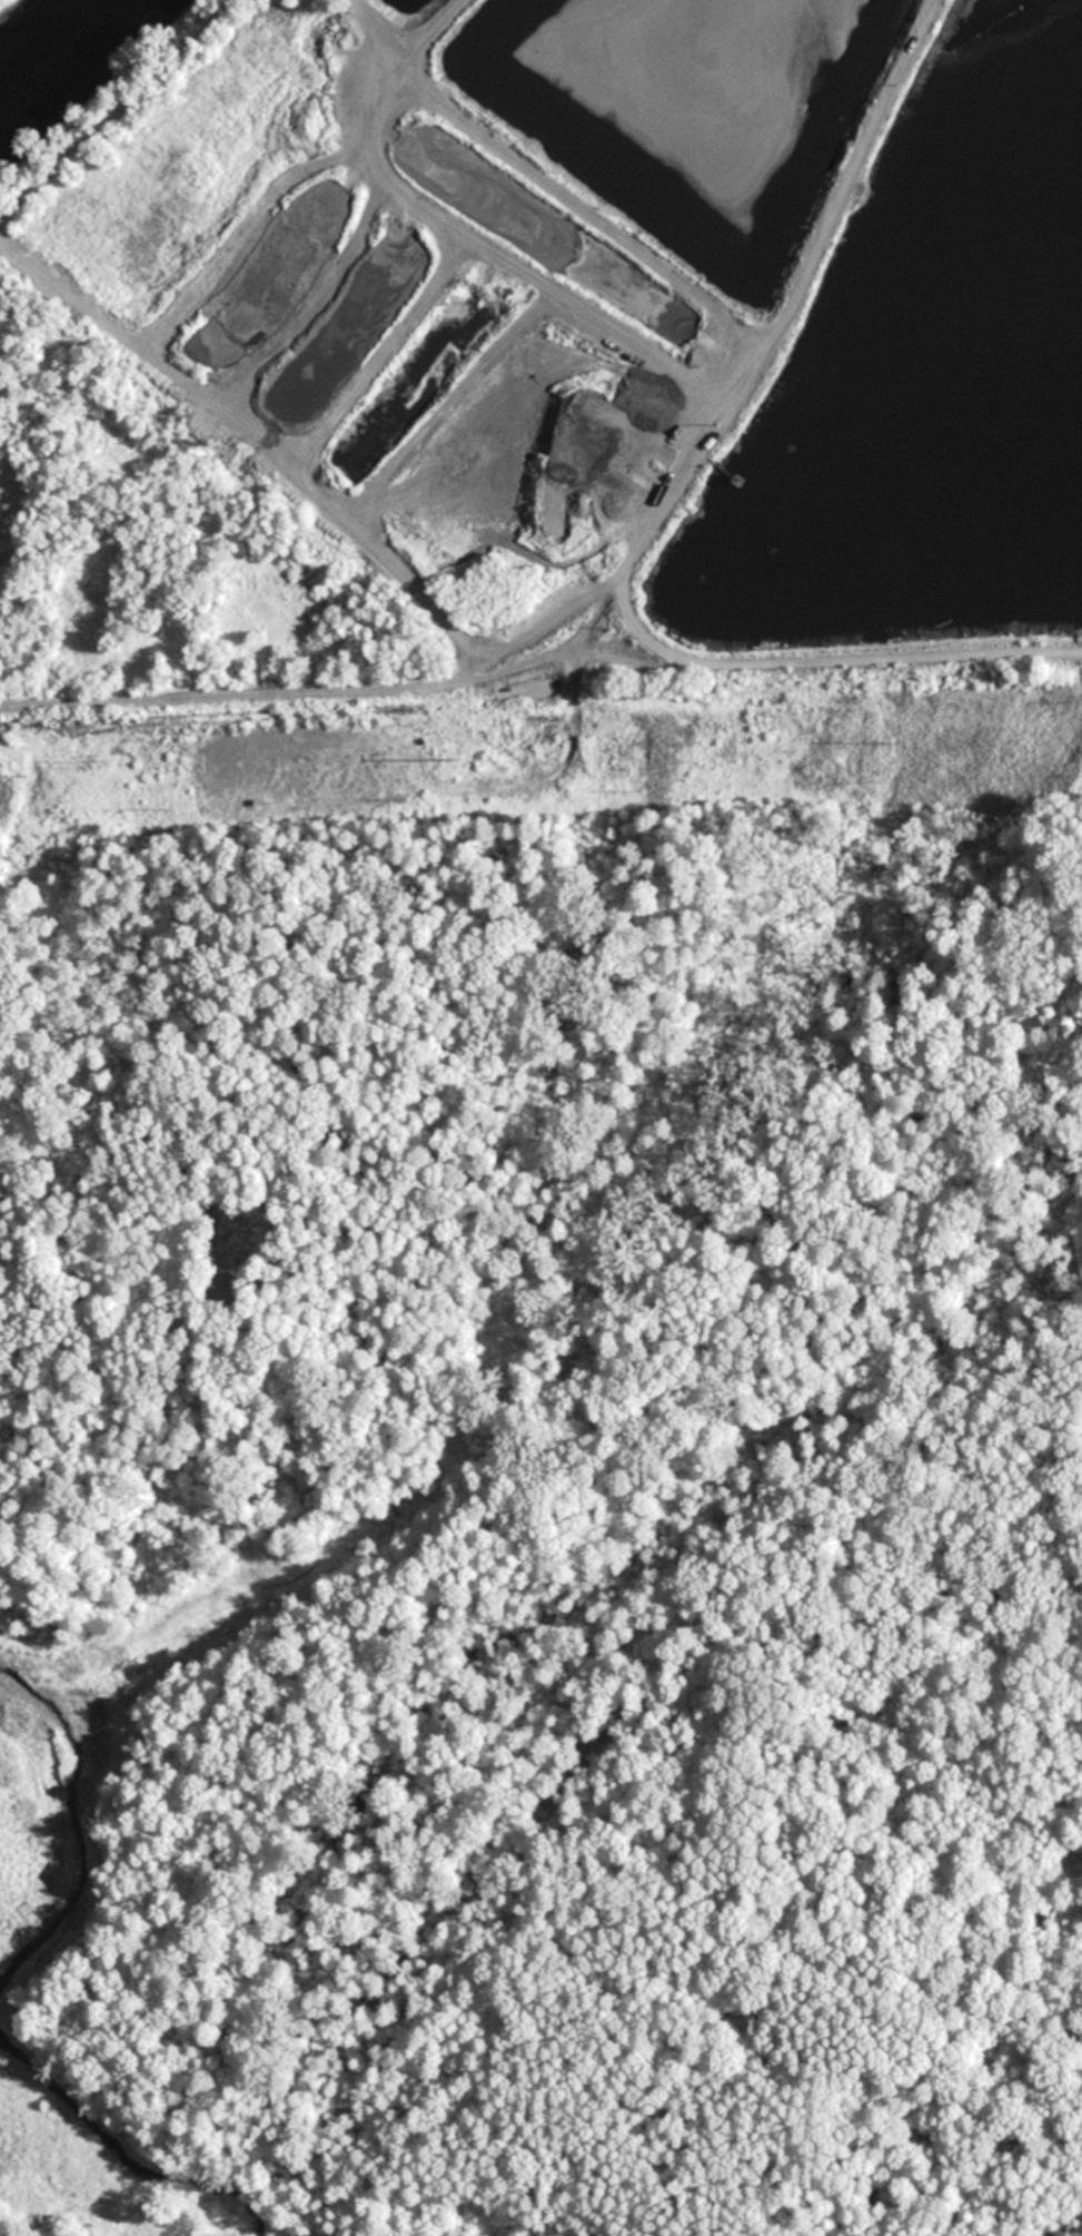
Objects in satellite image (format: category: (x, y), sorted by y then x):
river: (50, 42)
power tower: (900, 741)
power tower: (458, 762)
power tower: (18, 775)

